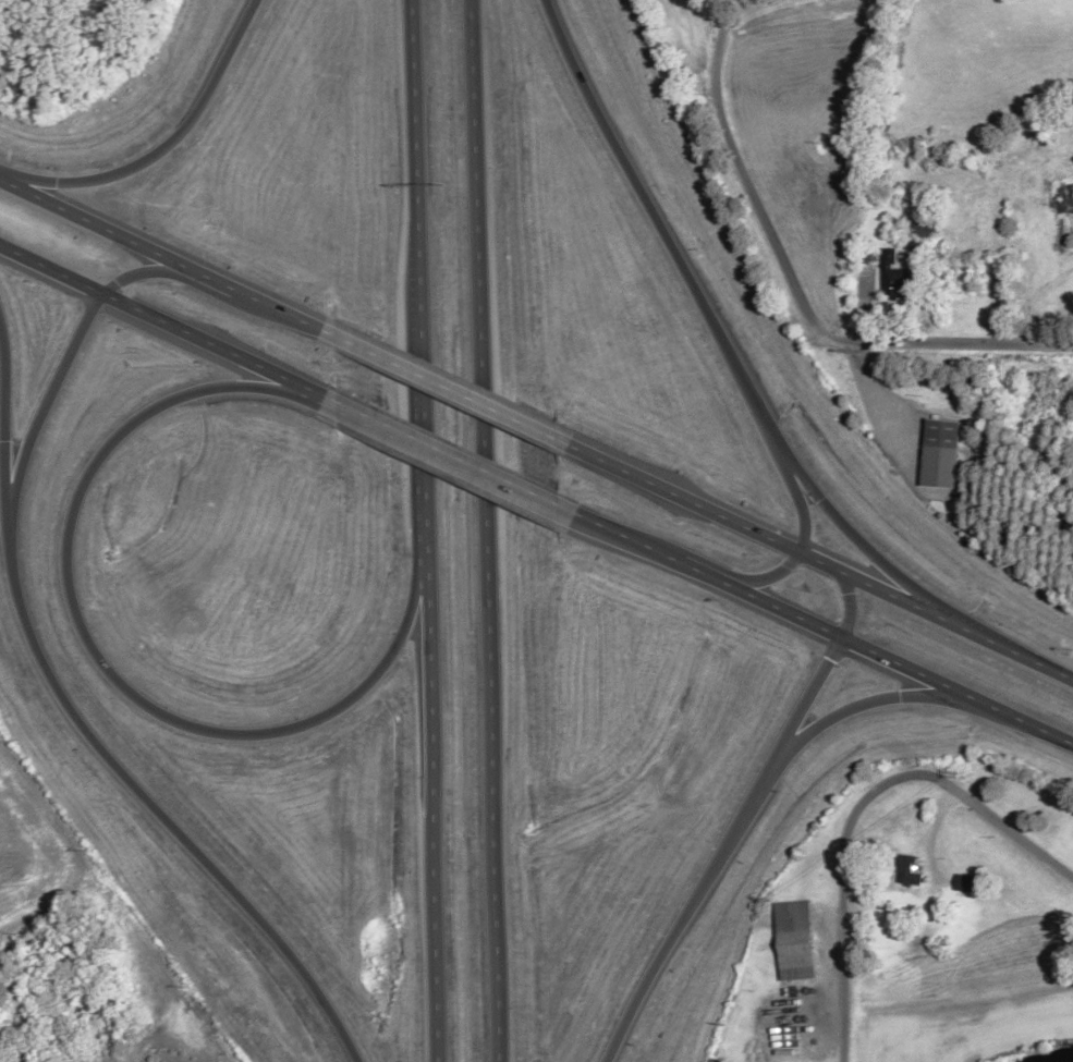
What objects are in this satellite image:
road: (163, 146)
road: (749, 195)
building: (1060, 198)
road: (95, 222)
building: (926, 229)
road: (415, 264)
building: (895, 276)
road: (214, 278)
road: (284, 313)
road: (157, 318)
road: (716, 334)
road: (968, 346)
road: (446, 388)
road: (320, 394)
road: (10, 416)
building: (941, 454)
road: (452, 456)
road: (484, 530)
road: (755, 532)
road: (631, 539)
road: (802, 545)
road: (706, 573)
road: (1013, 650)
road: (900, 666)
road: (107, 671)
road: (45, 674)
road: (817, 686)
road: (850, 710)
road: (428, 794)
road: (857, 806)
building: (911, 872)
building: (968, 883)
road: (674, 928)
building: (794, 941)

